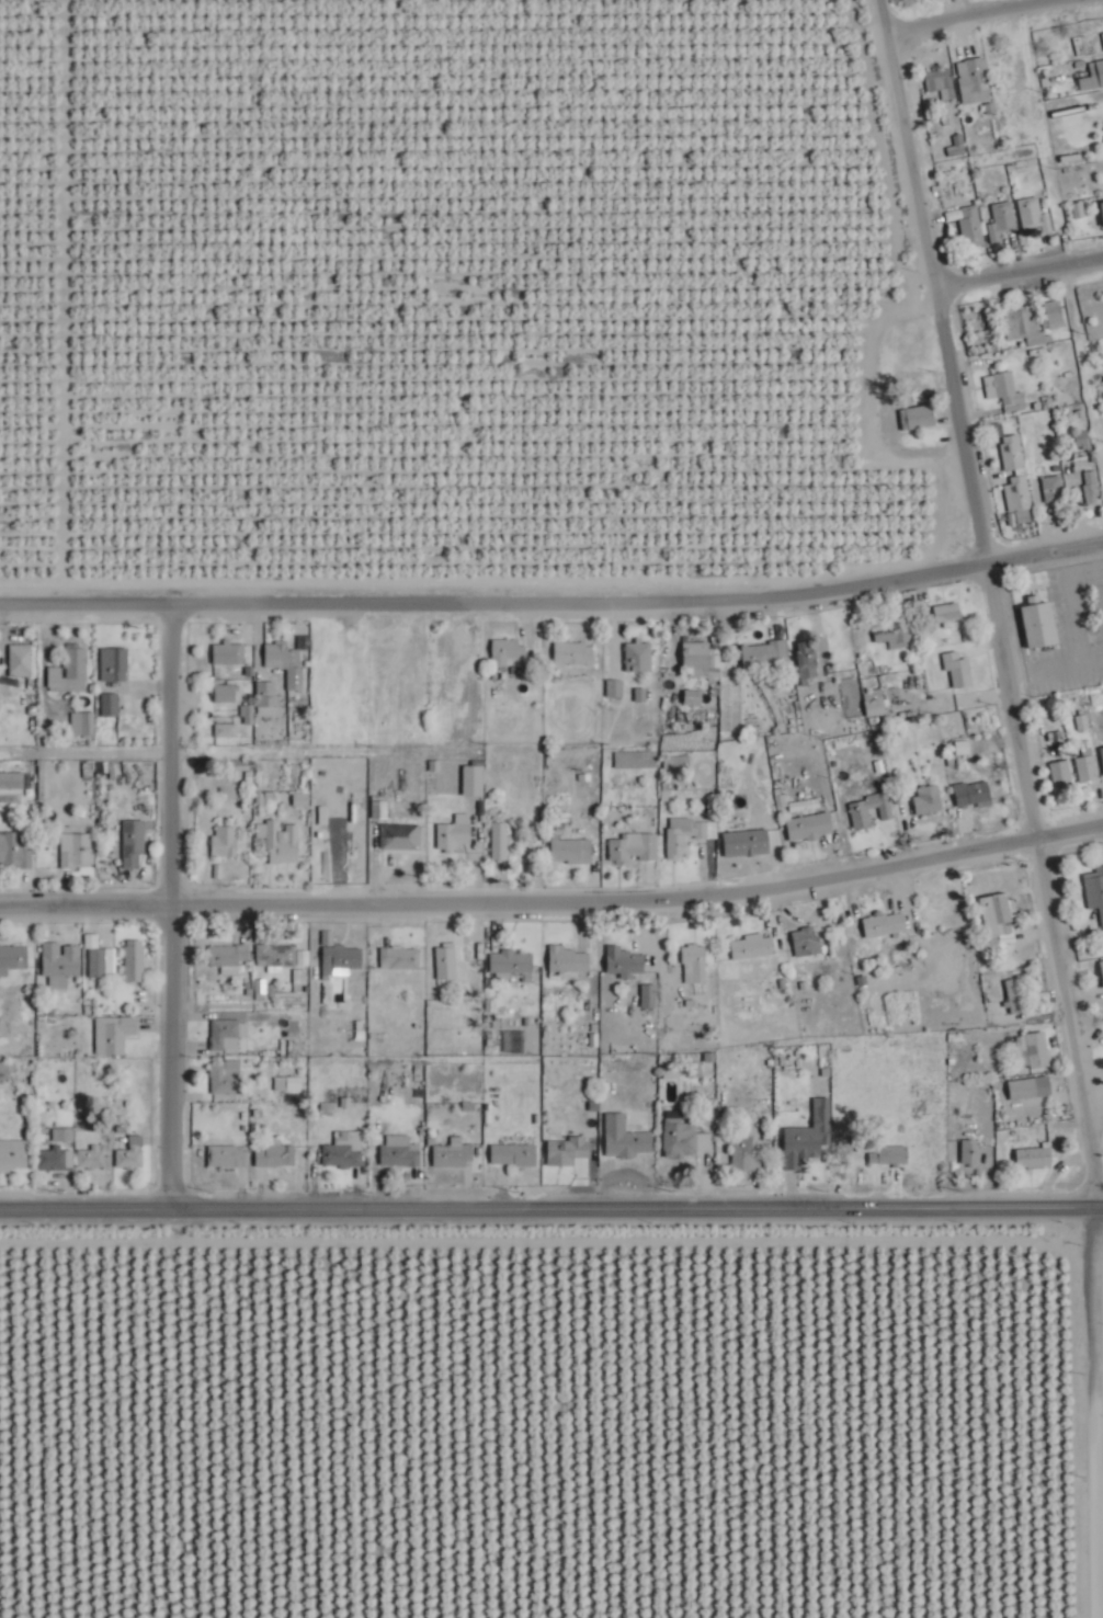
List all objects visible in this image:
road: (963, 16)
building: (1088, 46)
building: (1093, 78)
building: (976, 81)
building: (942, 83)
building: (1101, 209)
building: (1037, 214)
building: (1004, 221)
building: (974, 226)
road: (1023, 272)
building: (1056, 314)
building: (1023, 321)
building: (1010, 392)
building: (920, 418)
building: (1011, 452)
building: (1094, 488)
building: (1055, 490)
building: (1021, 493)
road: (554, 594)
road: (991, 597)
building: (948, 612)
building: (1038, 625)
building: (894, 633)
building: (504, 649)
building: (576, 652)
building: (766, 653)
building: (224, 654)
building: (700, 656)
building: (811, 656)
building: (639, 657)
building: (393, 659)
building: (16, 660)
building: (282, 662)
building: (109, 663)
building: (959, 669)
building: (66, 672)
building: (617, 687)
building: (220, 693)
building: (261, 693)
building: (694, 696)
building: (876, 703)
building: (105, 705)
building: (242, 714)
building: (220, 730)
building: (1102, 750)
road: (95, 751)
building: (1088, 765)
building: (1062, 773)
building: (468, 778)
building: (9, 784)
building: (975, 795)
building: (929, 799)
building: (874, 801)
building: (804, 828)
building: (451, 832)
building: (691, 833)
building: (752, 834)
building: (395, 836)
building: (220, 841)
building: (275, 841)
building: (494, 842)
building: (128, 844)
building: (635, 847)
building: (13, 851)
building: (70, 851)
building: (570, 851)
building: (1094, 887)
road: (554, 893)
road: (167, 901)
building: (1003, 913)
building: (887, 924)
building: (809, 942)
building: (754, 947)
building: (225, 956)
building: (271, 956)
building: (11, 958)
building: (395, 958)
building: (129, 960)
building: (337, 960)
building: (567, 960)
building: (441, 961)
building: (507, 962)
building: (628, 962)
building: (56, 964)
building: (93, 964)
building: (697, 964)
building: (1102, 966)
building: (254, 990)
building: (651, 995)
building: (996, 1002)
building: (109, 1034)
building: (220, 1035)
building: (1035, 1050)
building: (1, 1070)
building: (220, 1079)
building: (1026, 1089)
building: (629, 1137)
building: (686, 1138)
building: (801, 1146)
building: (339, 1150)
building: (395, 1151)
building: (971, 1152)
building: (11, 1154)
building: (448, 1154)
building: (746, 1154)
building: (223, 1155)
building: (271, 1155)
building: (512, 1155)
building: (889, 1155)
building: (125, 1156)
building: (1035, 1158)
building: (50, 1159)
building: (86, 1159)
road: (551, 1198)
road: (1095, 1408)

